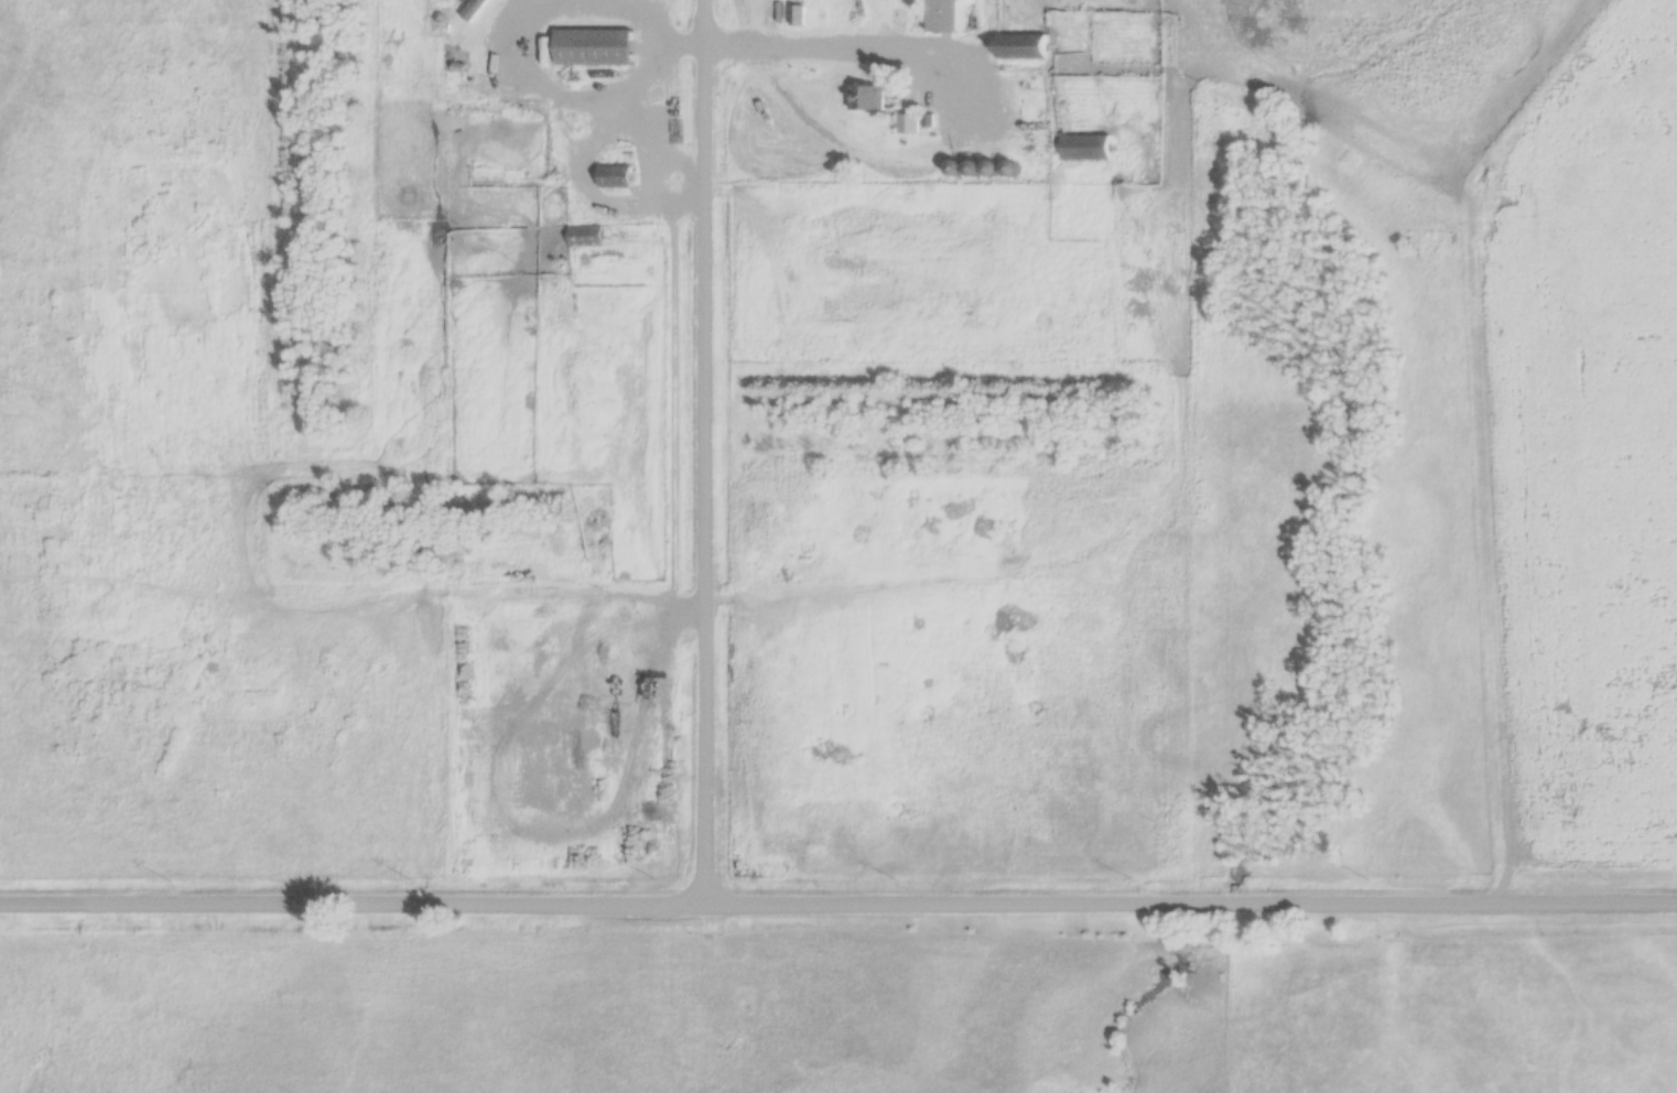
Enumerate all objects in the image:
building: (942, 17)
road: (845, 40)
building: (594, 48)
building: (865, 99)
building: (906, 126)
building: (616, 178)
road: (707, 447)
road: (838, 895)

